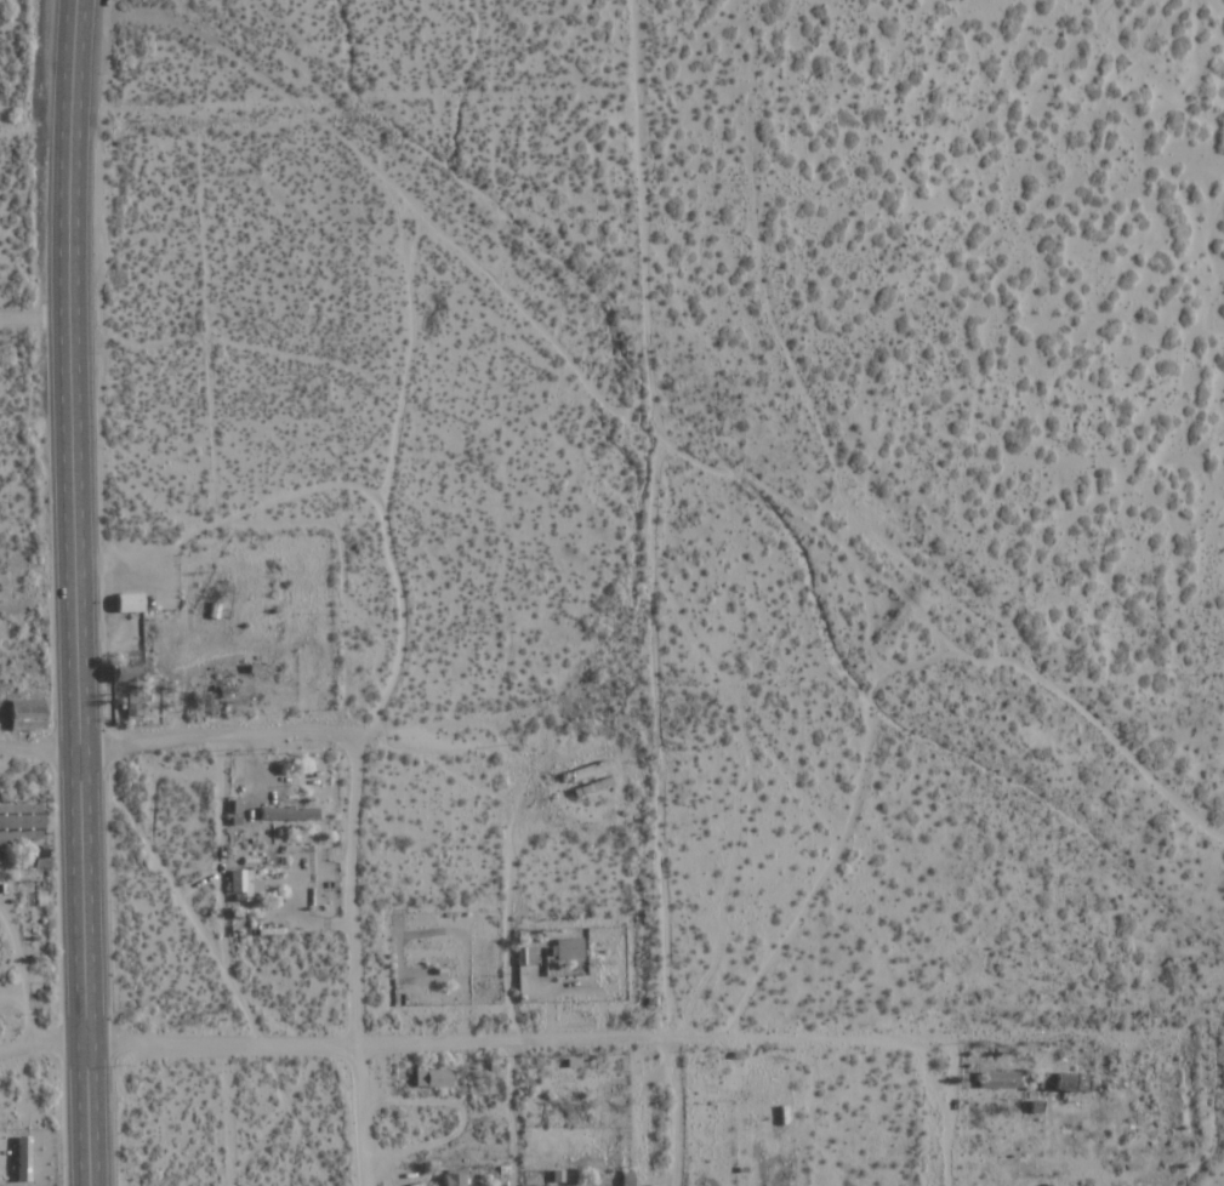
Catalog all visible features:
road: (68, 156)
road: (383, 184)
road: (33, 315)
building: (130, 605)
road: (381, 700)
road: (246, 726)
road: (655, 735)
road: (76, 751)
building: (588, 772)
building: (288, 815)
building: (21, 825)
building: (241, 883)
building: (568, 950)
building: (526, 954)
building: (431, 956)
road: (528, 1038)
building: (433, 1078)
building: (1000, 1080)
building: (1046, 1080)
building: (1071, 1083)
road: (930, 1108)
road: (682, 1110)
building: (22, 1159)
building: (454, 1178)

